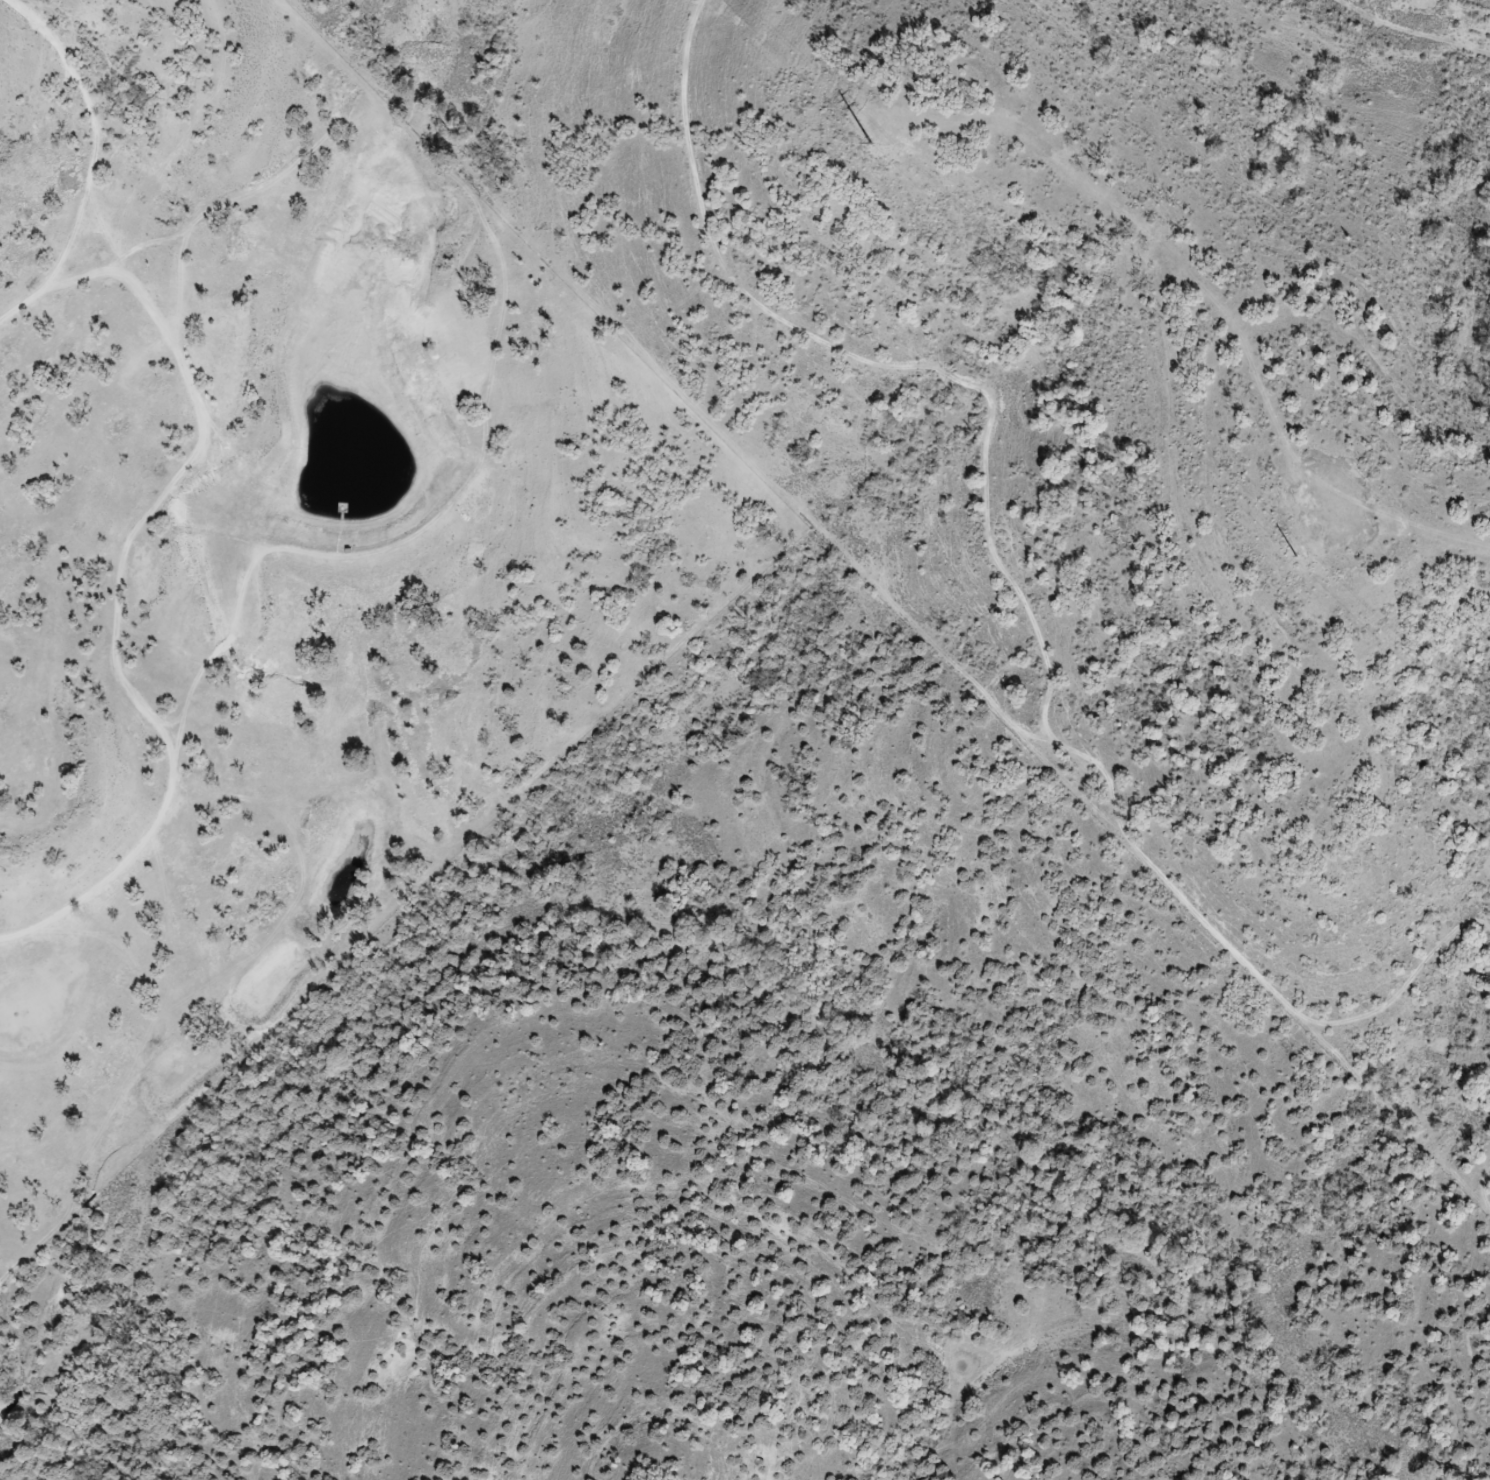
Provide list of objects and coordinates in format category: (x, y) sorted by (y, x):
power tower: (868, 143)
power tower: (1295, 555)
road: (136, 565)

